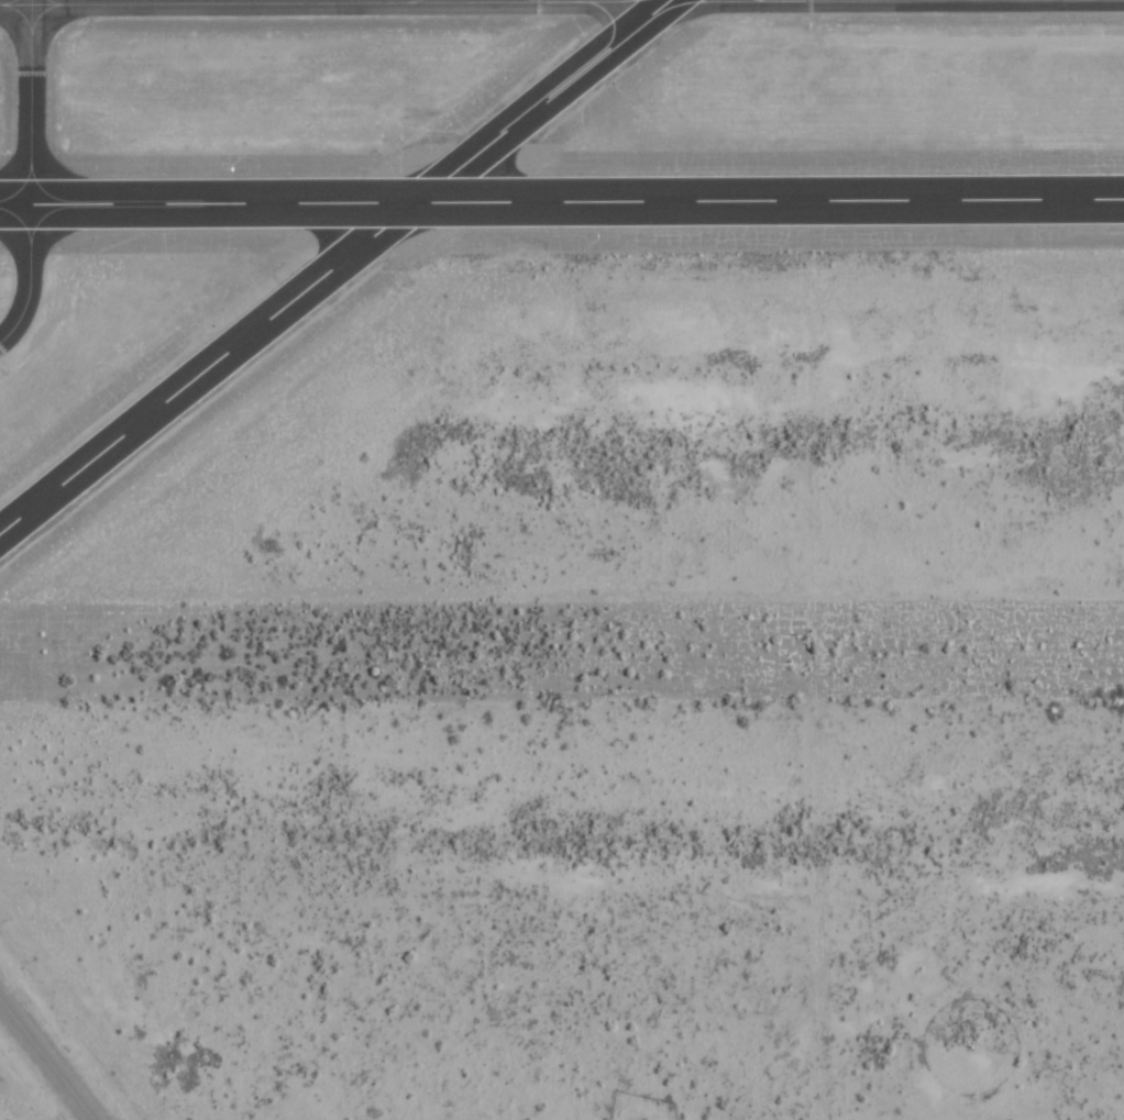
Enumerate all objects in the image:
airport taxiway: (425, 0)
airport taxiway: (252, 2)
airport taxiway: (27, 102)
airport runway: (562, 203)
airport runway: (332, 265)
airport taxiway: (31, 277)
airport taxiway: (45, 1062)

